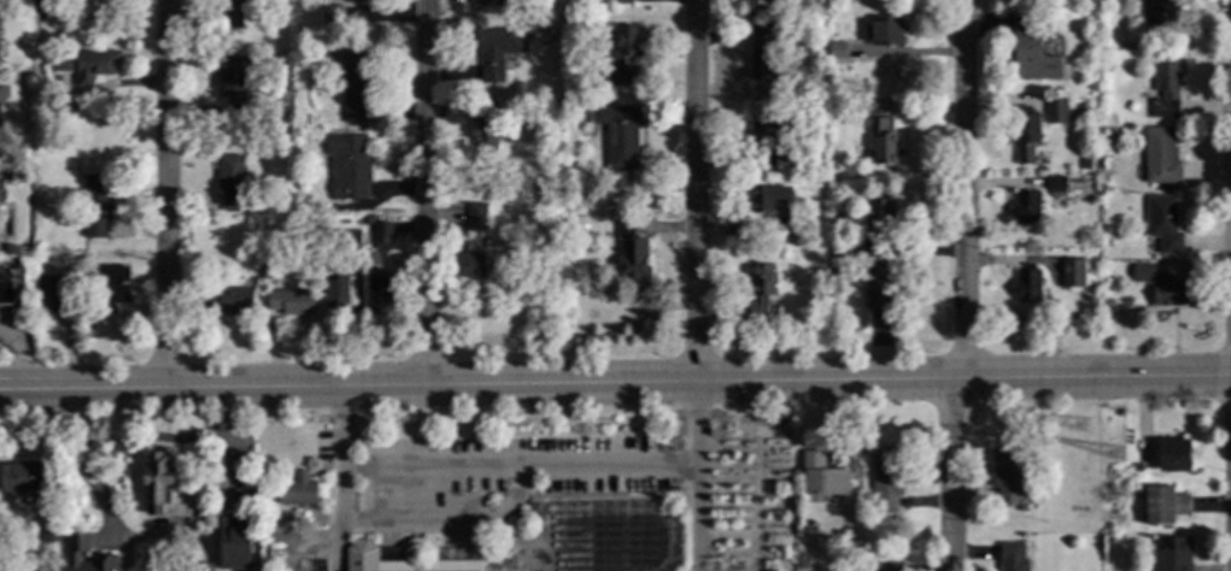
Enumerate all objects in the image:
building: (360, 0)
building: (492, 2)
building: (622, 2)
building: (28, 4)
building: (45, 4)
building: (565, 12)
building: (230, 16)
building: (332, 16)
building: (1161, 16)
building: (883, 31)
building: (814, 43)
building: (497, 51)
building: (838, 51)
building: (761, 52)
building: (1032, 52)
building: (620, 57)
building: (60, 64)
building: (94, 65)
building: (354, 86)
building: (233, 88)
building: (1165, 88)
building: (2, 94)
building: (565, 95)
building: (1055, 112)
building: (483, 128)
building: (767, 129)
building: (619, 135)
building: (1025, 136)
building: (881, 141)
building: (1160, 157)
building: (784, 158)
building: (1084, 165)
building: (348, 166)
building: (565, 177)
building: (230, 182)
building: (1056, 187)
road: (691, 188)
road: (427, 190)
road: (169, 193)
building: (768, 198)
building: (95, 205)
building: (1026, 207)
building: (880, 213)
building: (475, 217)
building: (1162, 224)
building: (787, 228)
building: (1108, 230)
building: (377, 234)
building: (347, 240)
building: (53, 247)
building: (839, 248)
building: (11, 249)
building: (632, 255)
building: (469, 266)
building: (1072, 273)
building: (263, 275)
building: (880, 282)
building: (1026, 284)
road: (961, 285)
building: (1155, 285)
building: (109, 288)
building: (11, 289)
building: (760, 289)
building: (335, 290)
building: (379, 293)
building: (54, 298)
building: (229, 301)
building: (291, 302)
road: (19, 351)
road: (615, 378)
power tower: (1084, 426)
road: (157, 438)
power tower: (1119, 455)
building: (1173, 455)
building: (1136, 469)
road: (521, 472)
building: (822, 476)
building: (1008, 478)
building: (19, 481)
building: (885, 481)
building: (240, 487)
building: (162, 488)
building: (298, 490)
building: (244, 500)
building: (1163, 506)
building: (672, 508)
road: (697, 520)
building: (526, 525)
road: (424, 526)
building: (51, 528)
road: (152, 536)
building: (77, 542)
building: (235, 544)
road: (339, 548)
building: (1013, 555)
building: (1172, 555)
building: (400, 558)
building: (201, 567)
building: (886, 567)

